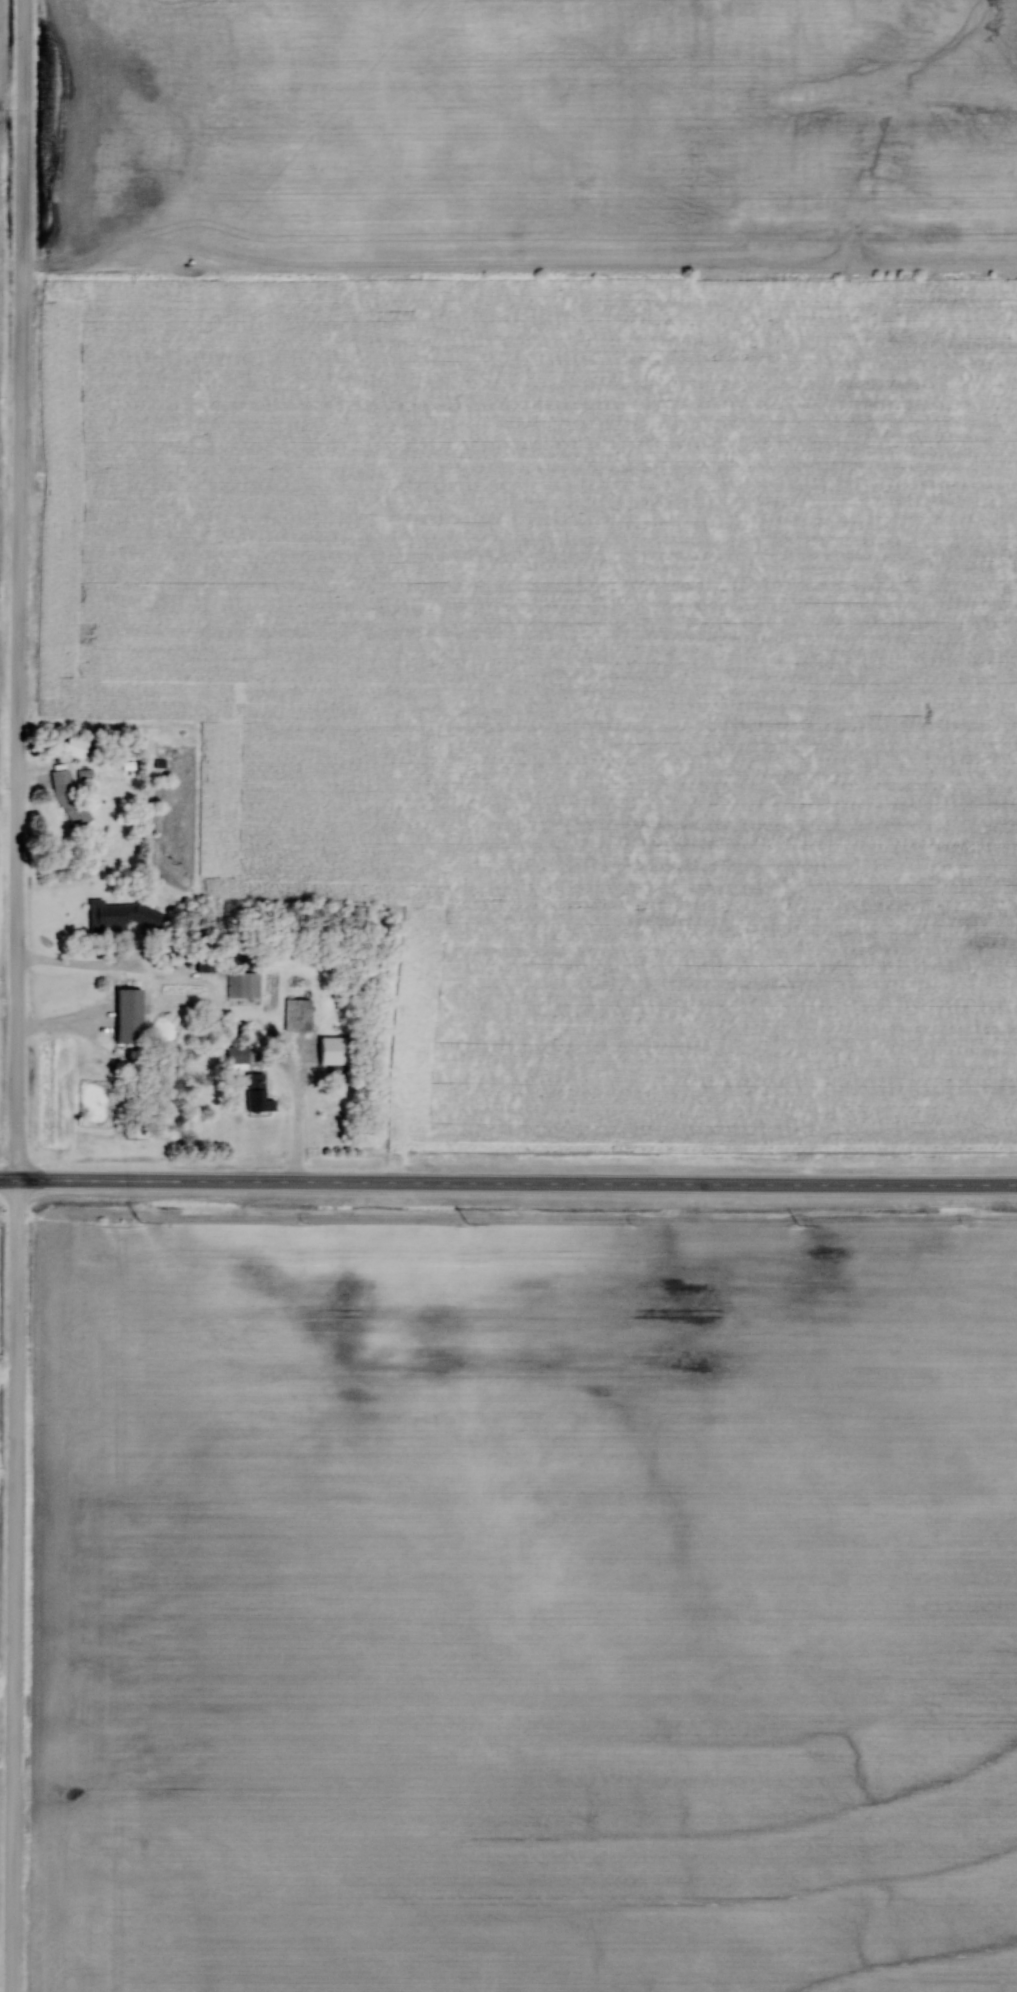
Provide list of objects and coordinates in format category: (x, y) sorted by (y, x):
building: (75, 746)
building: (120, 915)
road: (87, 961)
building: (206, 963)
building: (243, 985)
road: (19, 996)
building: (298, 1014)
building: (129, 1016)
building: (237, 1054)
building: (336, 1072)
building: (257, 1092)
road: (297, 1114)
road: (8, 1179)
road: (516, 1182)

